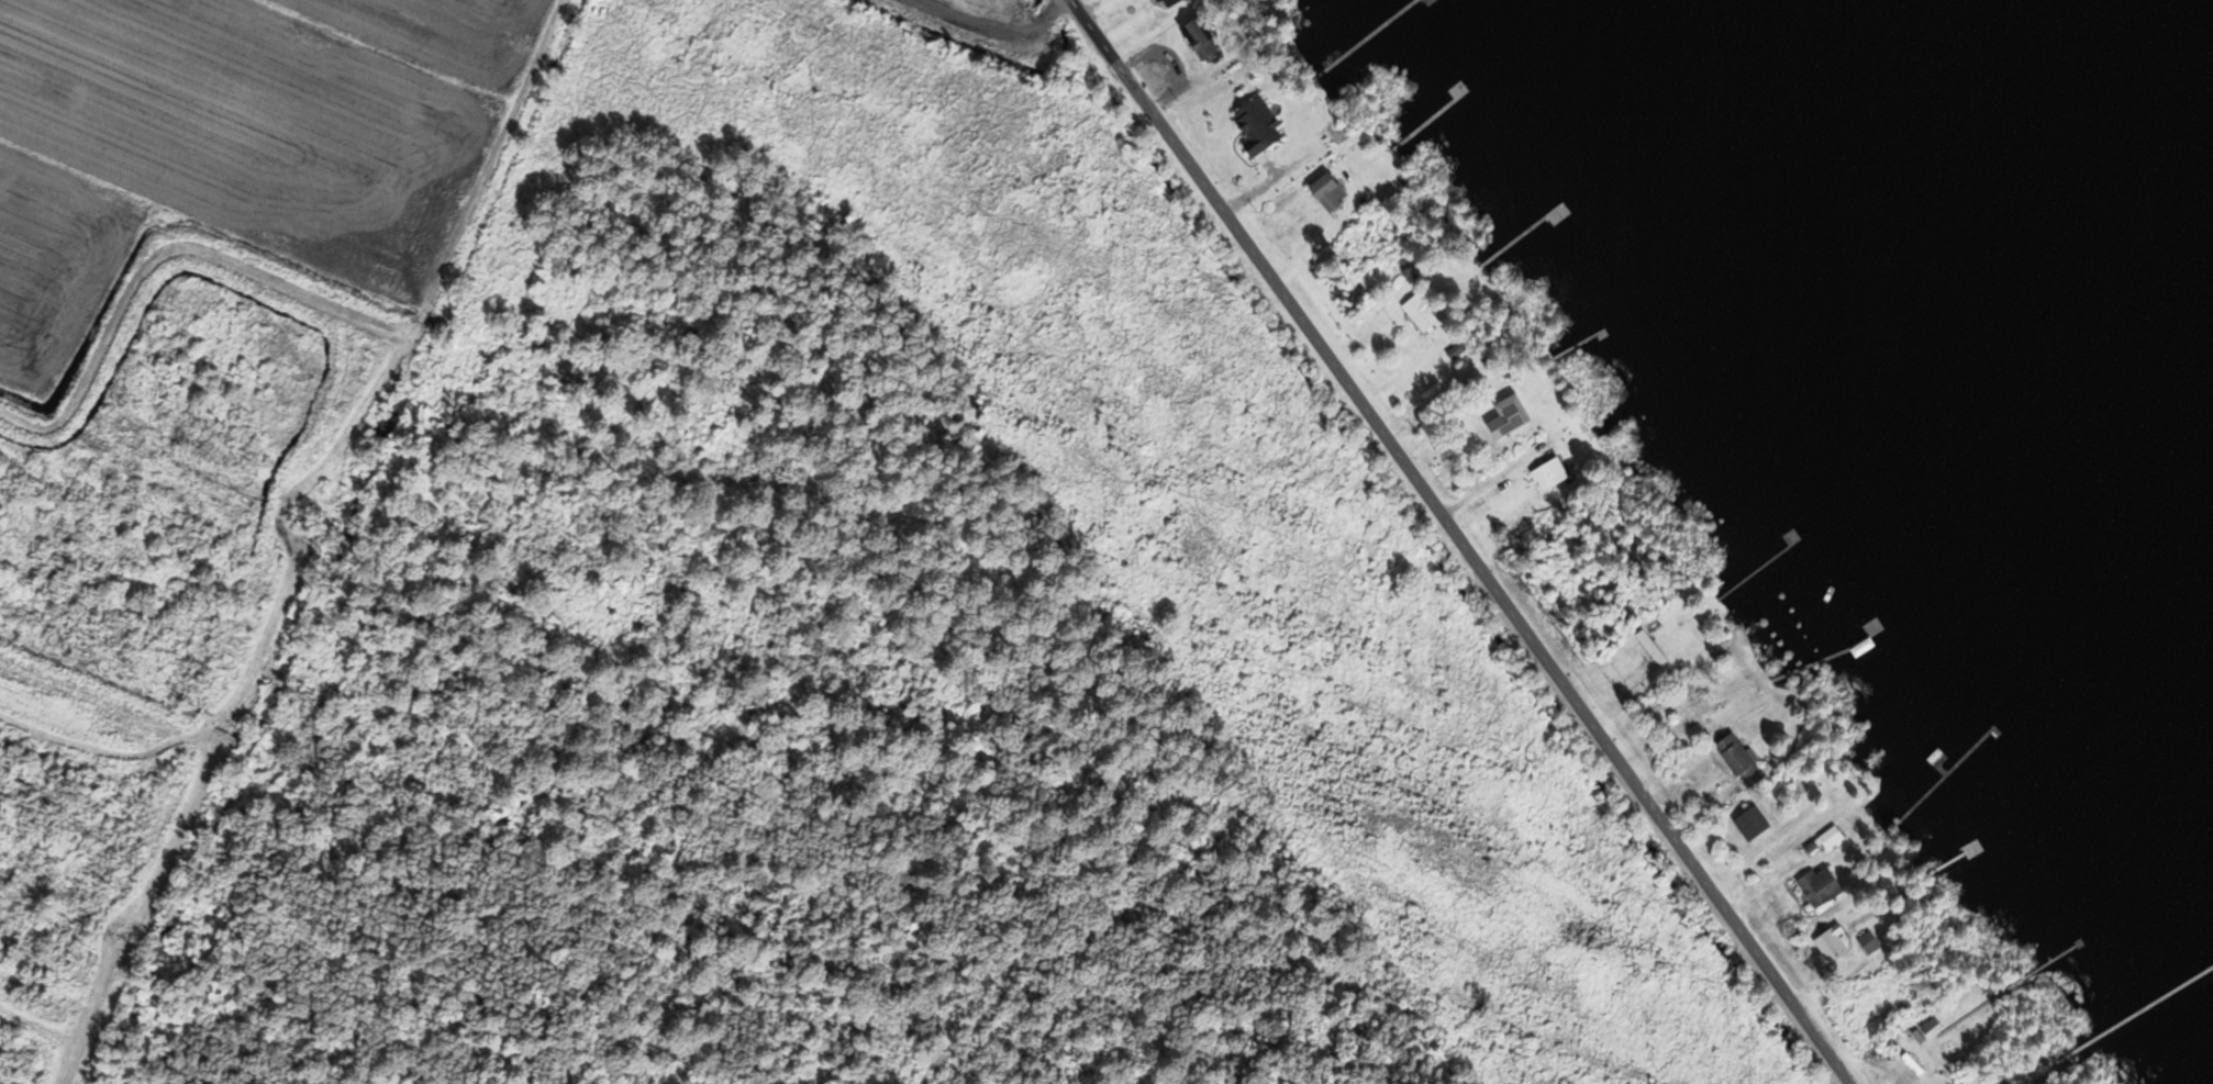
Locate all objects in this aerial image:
building: (1166, 2)
building: (1426, 2)
crop: (985, 9)
road: (993, 27)
building: (1197, 36)
crop: (232, 141)
building: (1323, 191)
building: (1416, 312)
building: (1455, 349)
building: (1502, 417)
building: (1546, 473)
road: (313, 541)
road: (1461, 541)
building: (1648, 646)
building: (1736, 760)
building: (1827, 839)
building: (1816, 886)
building: (1830, 942)

